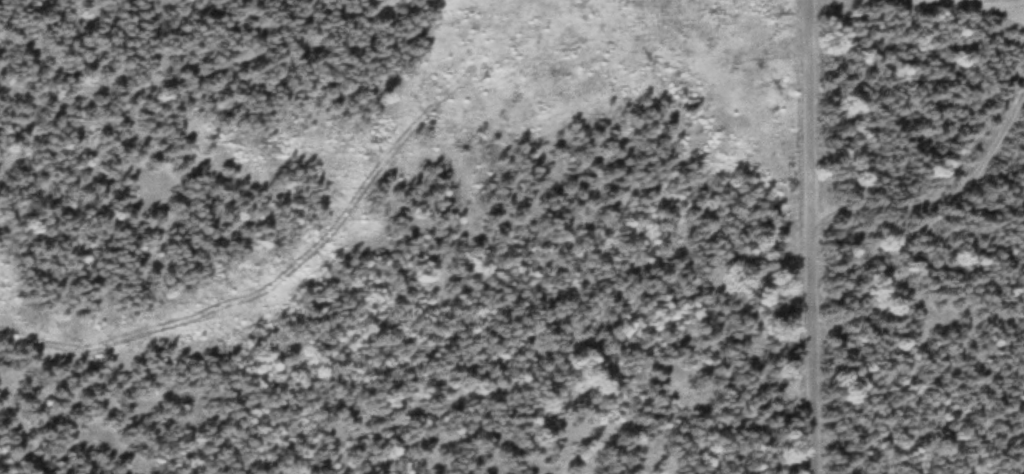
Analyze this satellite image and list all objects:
road: (816, 0)
road: (1014, 6)
road: (945, 191)
road: (817, 237)

